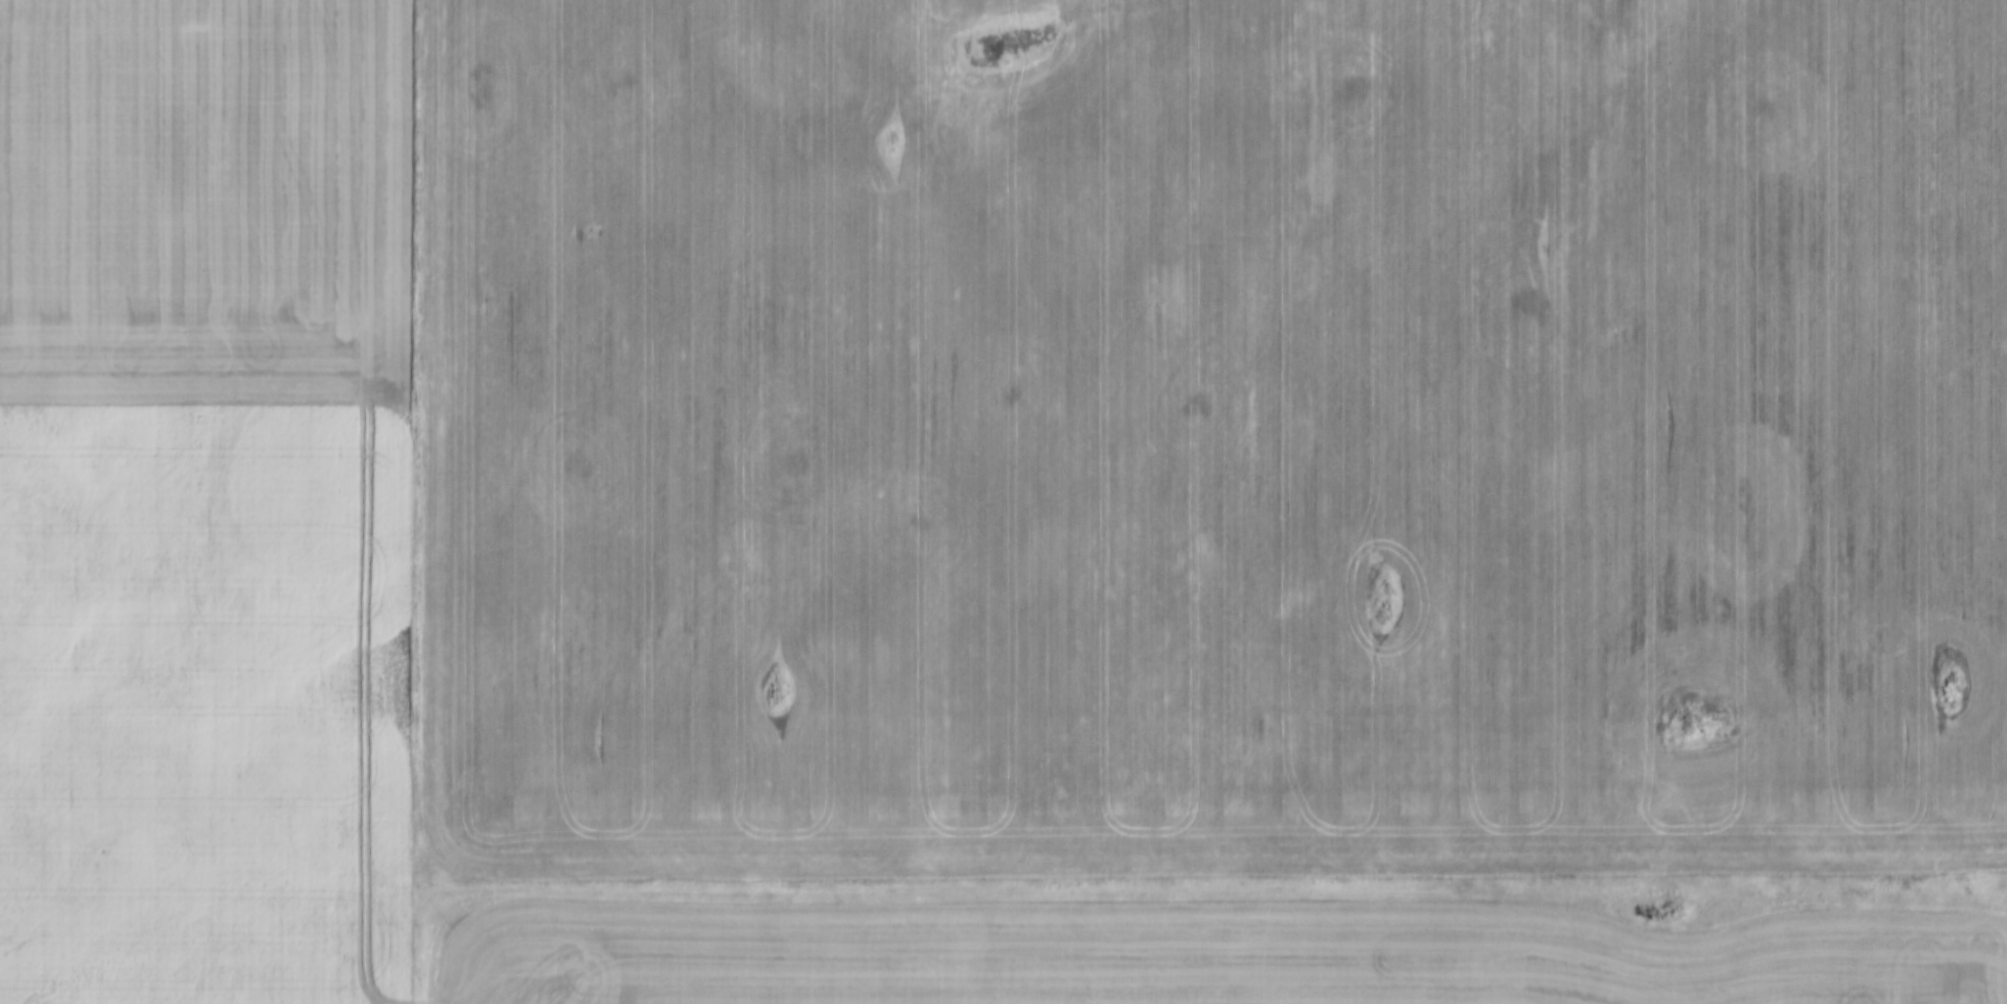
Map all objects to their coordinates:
road: (1181, 901)

